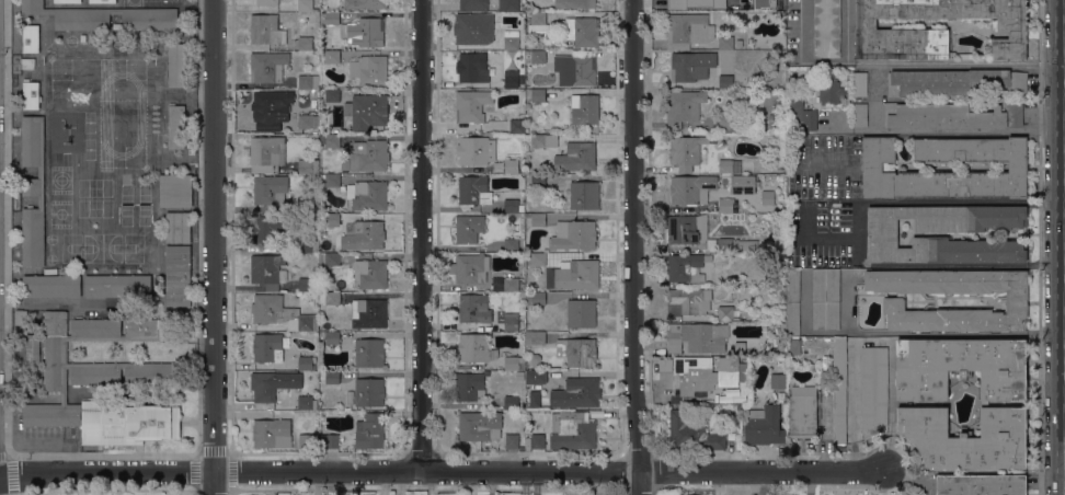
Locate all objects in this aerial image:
building: (68, 1)
building: (102, 1)
building: (268, 2)
building: (680, 2)
building: (574, 3)
building: (764, 3)
building: (375, 4)
building: (508, 4)
building: (725, 4)
building: (306, 5)
building: (473, 5)
building: (116, 10)
building: (71, 15)
building: (330, 18)
building: (148, 19)
building: (538, 22)
building: (473, 28)
building: (826, 28)
building: (266, 30)
building: (688, 31)
building: (364, 32)
building: (582, 32)
building: (902, 32)
building: (31, 38)
building: (512, 39)
building: (725, 42)
building: (305, 43)
building: (740, 43)
building: (331, 57)
building: (538, 57)
building: (176, 64)
building: (267, 66)
building: (691, 66)
building: (473, 67)
building: (369, 70)
building: (575, 70)
building: (725, 81)
building: (308, 82)
building: (511, 82)
building: (952, 82)
building: (860, 83)
building: (831, 88)
building: (31, 95)
building: (332, 95)
building: (538, 95)
road: (874, 99)
building: (471, 105)
building: (268, 107)
building: (683, 107)
building: (584, 108)
building: (367, 111)
building: (860, 115)
building: (802, 116)
building: (950, 116)
building: (305, 122)
building: (725, 122)
building: (517, 126)
building: (176, 127)
building: (330, 140)
building: (543, 140)
building: (472, 150)
building: (192, 151)
building: (686, 152)
building: (266, 153)
building: (367, 156)
building: (576, 157)
building: (308, 165)
building: (511, 166)
building: (730, 166)
building: (878, 166)
parking lot: (824, 168)
building: (765, 171)
building: (332, 180)
building: (538, 180)
building: (743, 184)
building: (175, 189)
building: (270, 189)
building: (474, 189)
building: (691, 189)
building: (33, 191)
building: (368, 195)
building: (584, 195)
building: (768, 197)
road: (1045, 202)
building: (306, 203)
building: (726, 205)
building: (512, 206)
building: (536, 218)
building: (332, 219)
building: (176, 227)
building: (468, 228)
building: (687, 229)
building: (268, 230)
road: (421, 234)
road: (860, 234)
building: (882, 234)
building: (367, 235)
building: (574, 235)
building: (309, 244)
building: (511, 245)
building: (731, 245)
road: (634, 246)
road: (213, 248)
building: (332, 258)
building: (538, 258)
road: (1045, 265)
building: (686, 267)
building: (472, 268)
building: (268, 270)
building: (370, 273)
building: (577, 274)
building: (177, 275)
building: (51, 285)
building: (305, 285)
building: (512, 285)
building: (117, 286)
building: (523, 287)
building: (330, 298)
building: (538, 298)
building: (826, 299)
building: (688, 301)
building: (793, 302)
building: (894, 303)
building: (474, 309)
building: (282, 313)
building: (369, 313)
building: (581, 313)
building: (728, 313)
building: (21, 318)
building: (512, 323)
building: (782, 326)
road: (387, 334)
building: (331, 337)
building: (536, 337)
building: (697, 337)
building: (794, 346)
building: (267, 347)
building: (476, 348)
building: (738, 348)
building: (577, 352)
building: (369, 353)
building: (535, 358)
building: (305, 362)
building: (514, 364)
building: (707, 373)
building: (330, 377)
building: (536, 377)
building: (103, 380)
building: (777, 381)
building: (273, 384)
building: (470, 387)
building: (839, 391)
building: (873, 391)
building: (369, 392)
building: (577, 393)
building: (535, 399)
building: (305, 402)
building: (512, 402)
building: (984, 404)
building: (738, 407)
building: (803, 416)
building: (479, 425)
building: (764, 426)
building: (572, 430)
building: (370, 431)
building: (272, 433)
building: (694, 434)
building: (537, 439)
building: (306, 440)
building: (329, 441)
building: (512, 441)
building: (528, 444)
road: (442, 470)
building: (981, 484)
building: (914, 493)
building: (694, 494)

